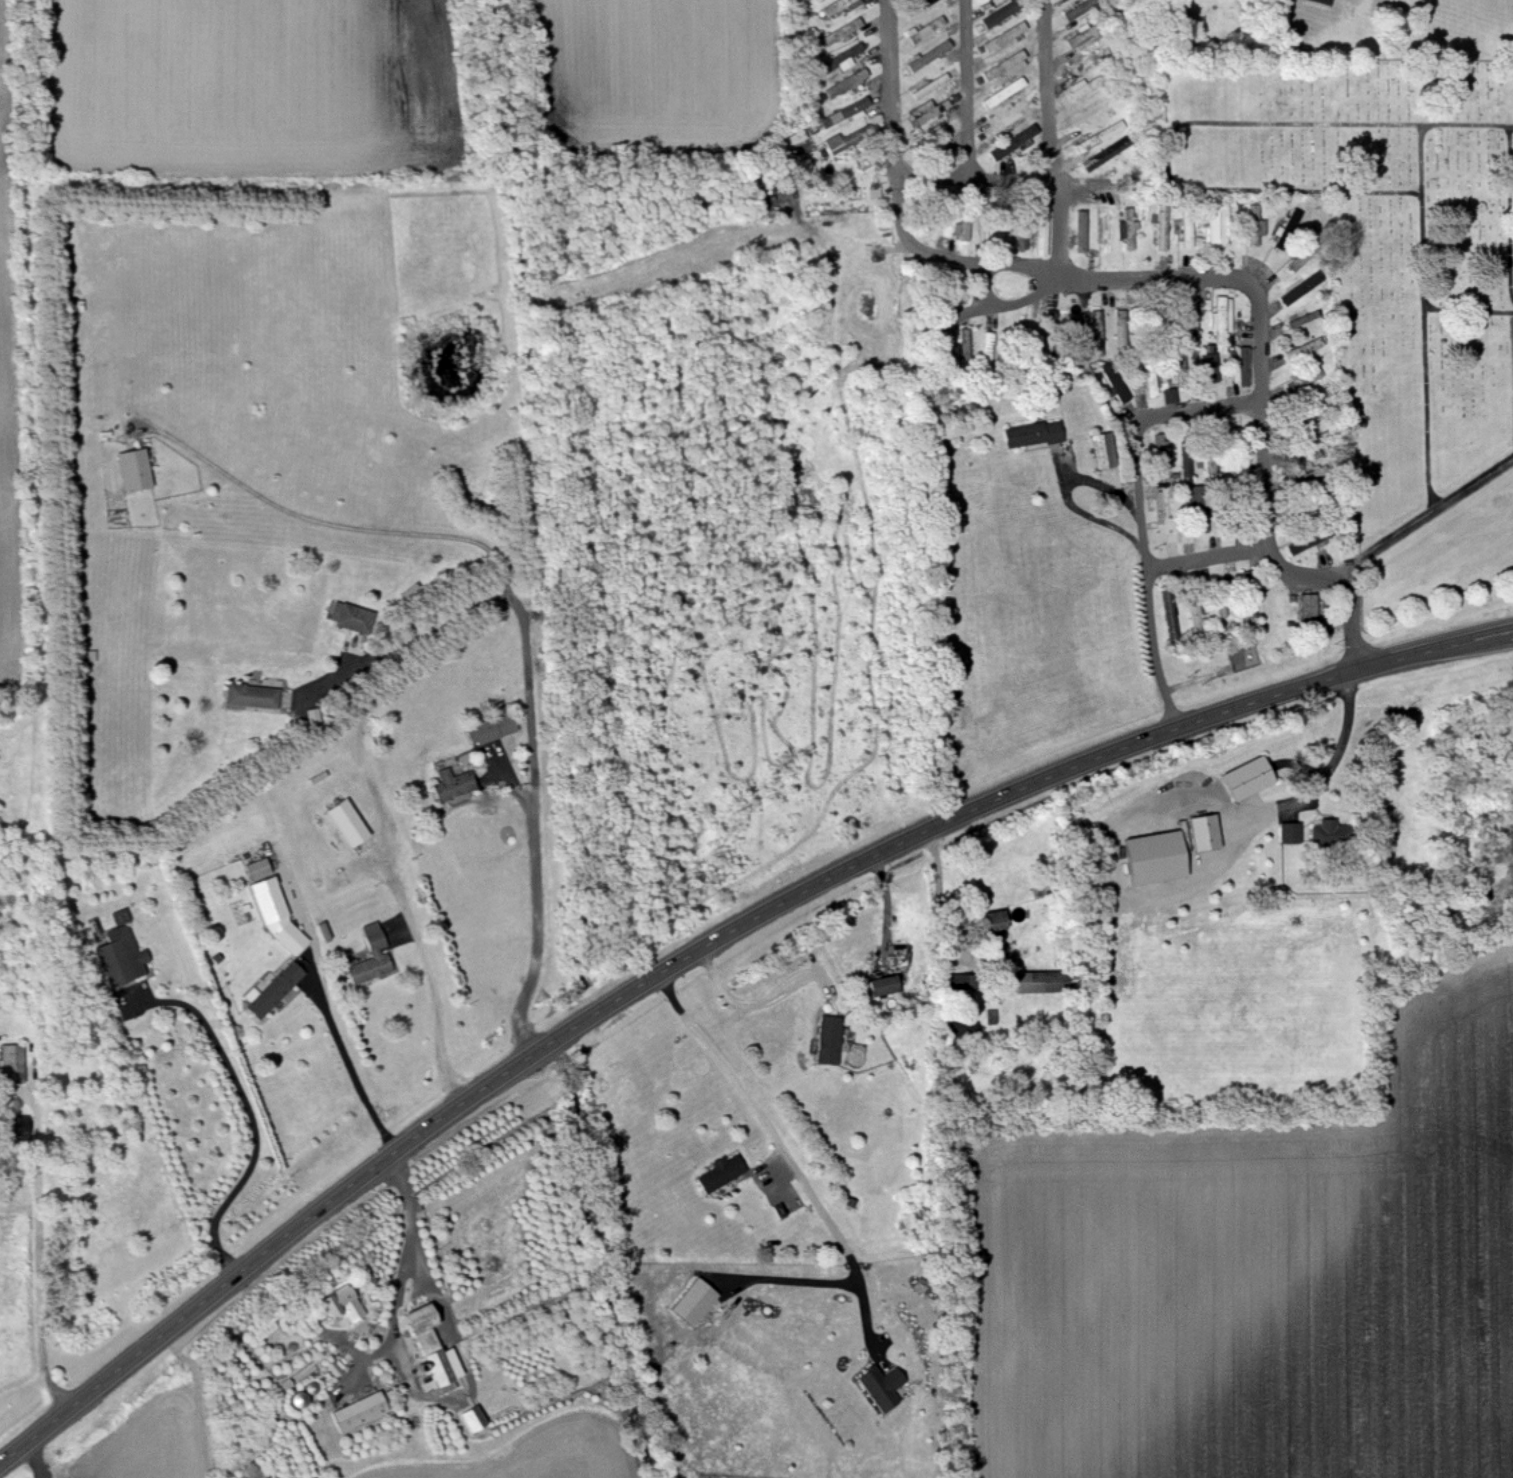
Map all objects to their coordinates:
building: (839, 4)
building: (918, 6)
building: (1000, 14)
building: (853, 26)
building: (926, 30)
building: (1004, 36)
building: (1101, 52)
building: (838, 61)
building: (1004, 66)
building: (1073, 69)
building: (845, 84)
building: (1087, 85)
building: (930, 86)
road: (893, 89)
road: (968, 90)
building: (1003, 92)
building: (927, 111)
building: (844, 112)
building: (982, 118)
building: (1004, 122)
building: (1099, 136)
building: (854, 140)
road: (1046, 141)
building: (1013, 143)
building: (1101, 156)
road: (978, 180)
building: (1042, 224)
building: (1218, 225)
building: (1253, 226)
building: (1187, 228)
building: (1105, 229)
building: (962, 230)
building: (1128, 230)
building: (1080, 232)
park: (1381, 253)
building: (1209, 260)
building: (1300, 260)
road: (1069, 281)
building: (1303, 287)
building: (1222, 320)
building: (987, 347)
building: (1244, 366)
building: (1180, 372)
building: (1210, 375)
building: (1305, 380)
building: (1150, 382)
building: (1119, 389)
building: (1170, 395)
road: (1200, 414)
building: (1032, 434)
building: (1162, 449)
building: (1103, 451)
building: (1185, 458)
building: (1211, 462)
road: (1265, 464)
building: (134, 470)
building: (1162, 500)
road: (304, 517)
road: (1390, 542)
building: (1301, 544)
road: (1209, 561)
road: (1149, 576)
building: (1249, 598)
building: (1222, 610)
building: (1308, 612)
building: (1195, 613)
building: (1170, 615)
building: (349, 619)
road: (406, 641)
building: (251, 696)
building: (488, 730)
road: (1338, 753)
building: (1247, 779)
building: (451, 785)
road: (533, 800)
building: (347, 823)
building: (1204, 833)
building: (1290, 834)
road: (893, 906)
building: (277, 916)
building: (993, 926)
road: (702, 946)
building: (120, 954)
building: (371, 961)
road: (421, 961)
building: (883, 986)
building: (274, 990)
road: (745, 1004)
road: (333, 1009)
building: (828, 1041)
building: (12, 1065)
road: (725, 1065)
road: (258, 1117)
building: (19, 1128)
building: (722, 1174)
road: (416, 1246)
road: (51, 1248)
building: (343, 1305)
building: (429, 1346)
building: (359, 1412)
building: (473, 1420)

